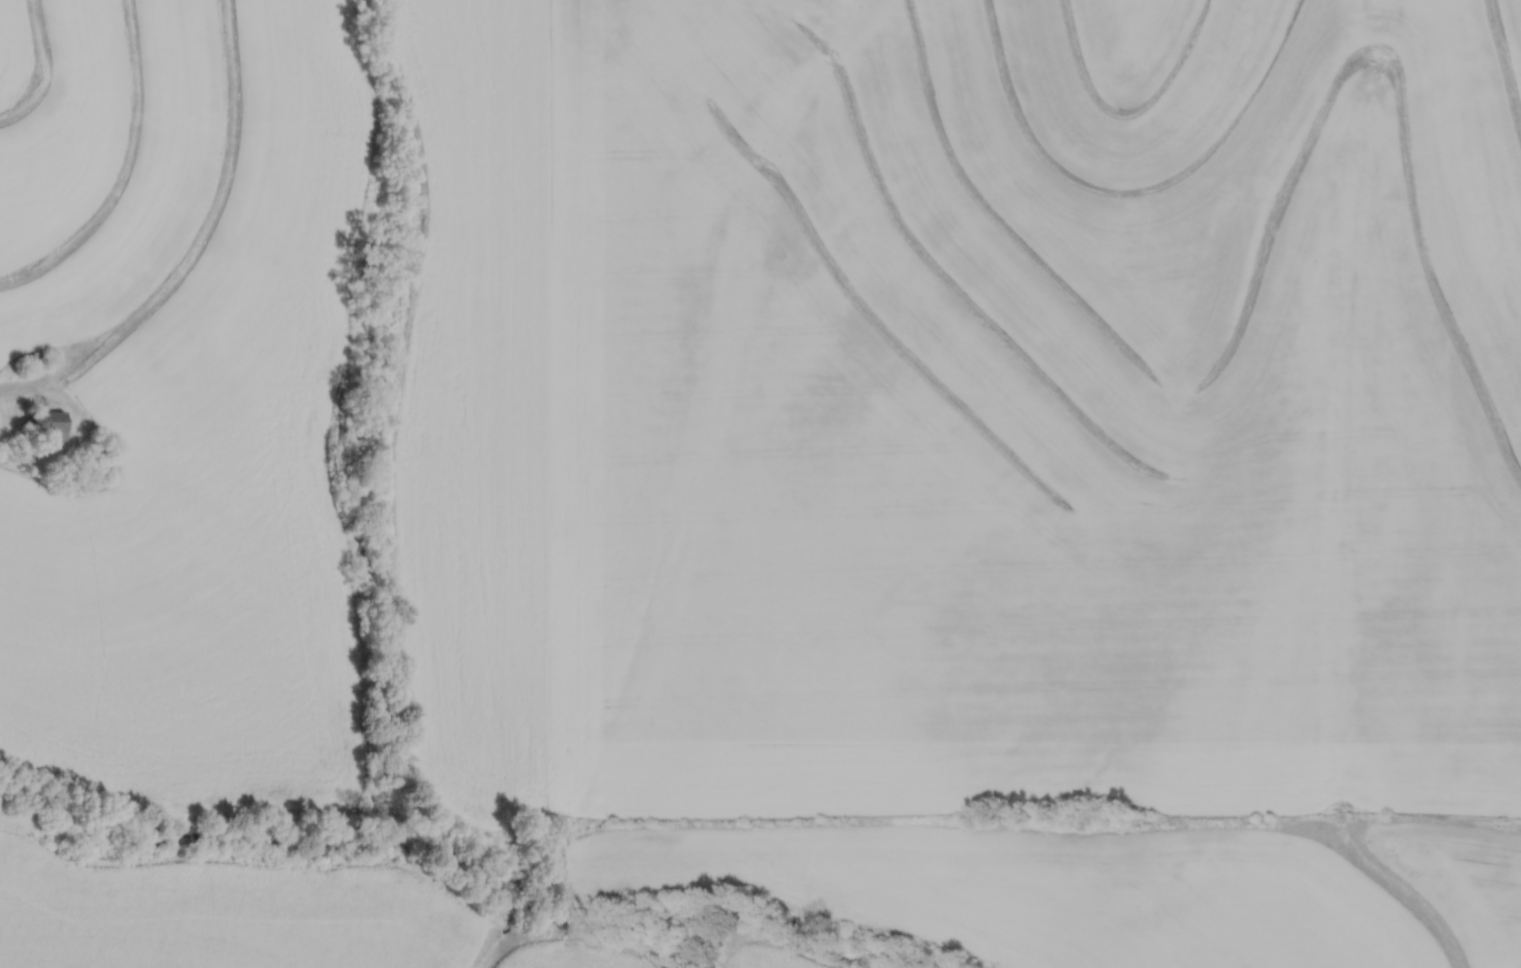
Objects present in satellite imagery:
building: (32, 359)
building: (45, 426)

